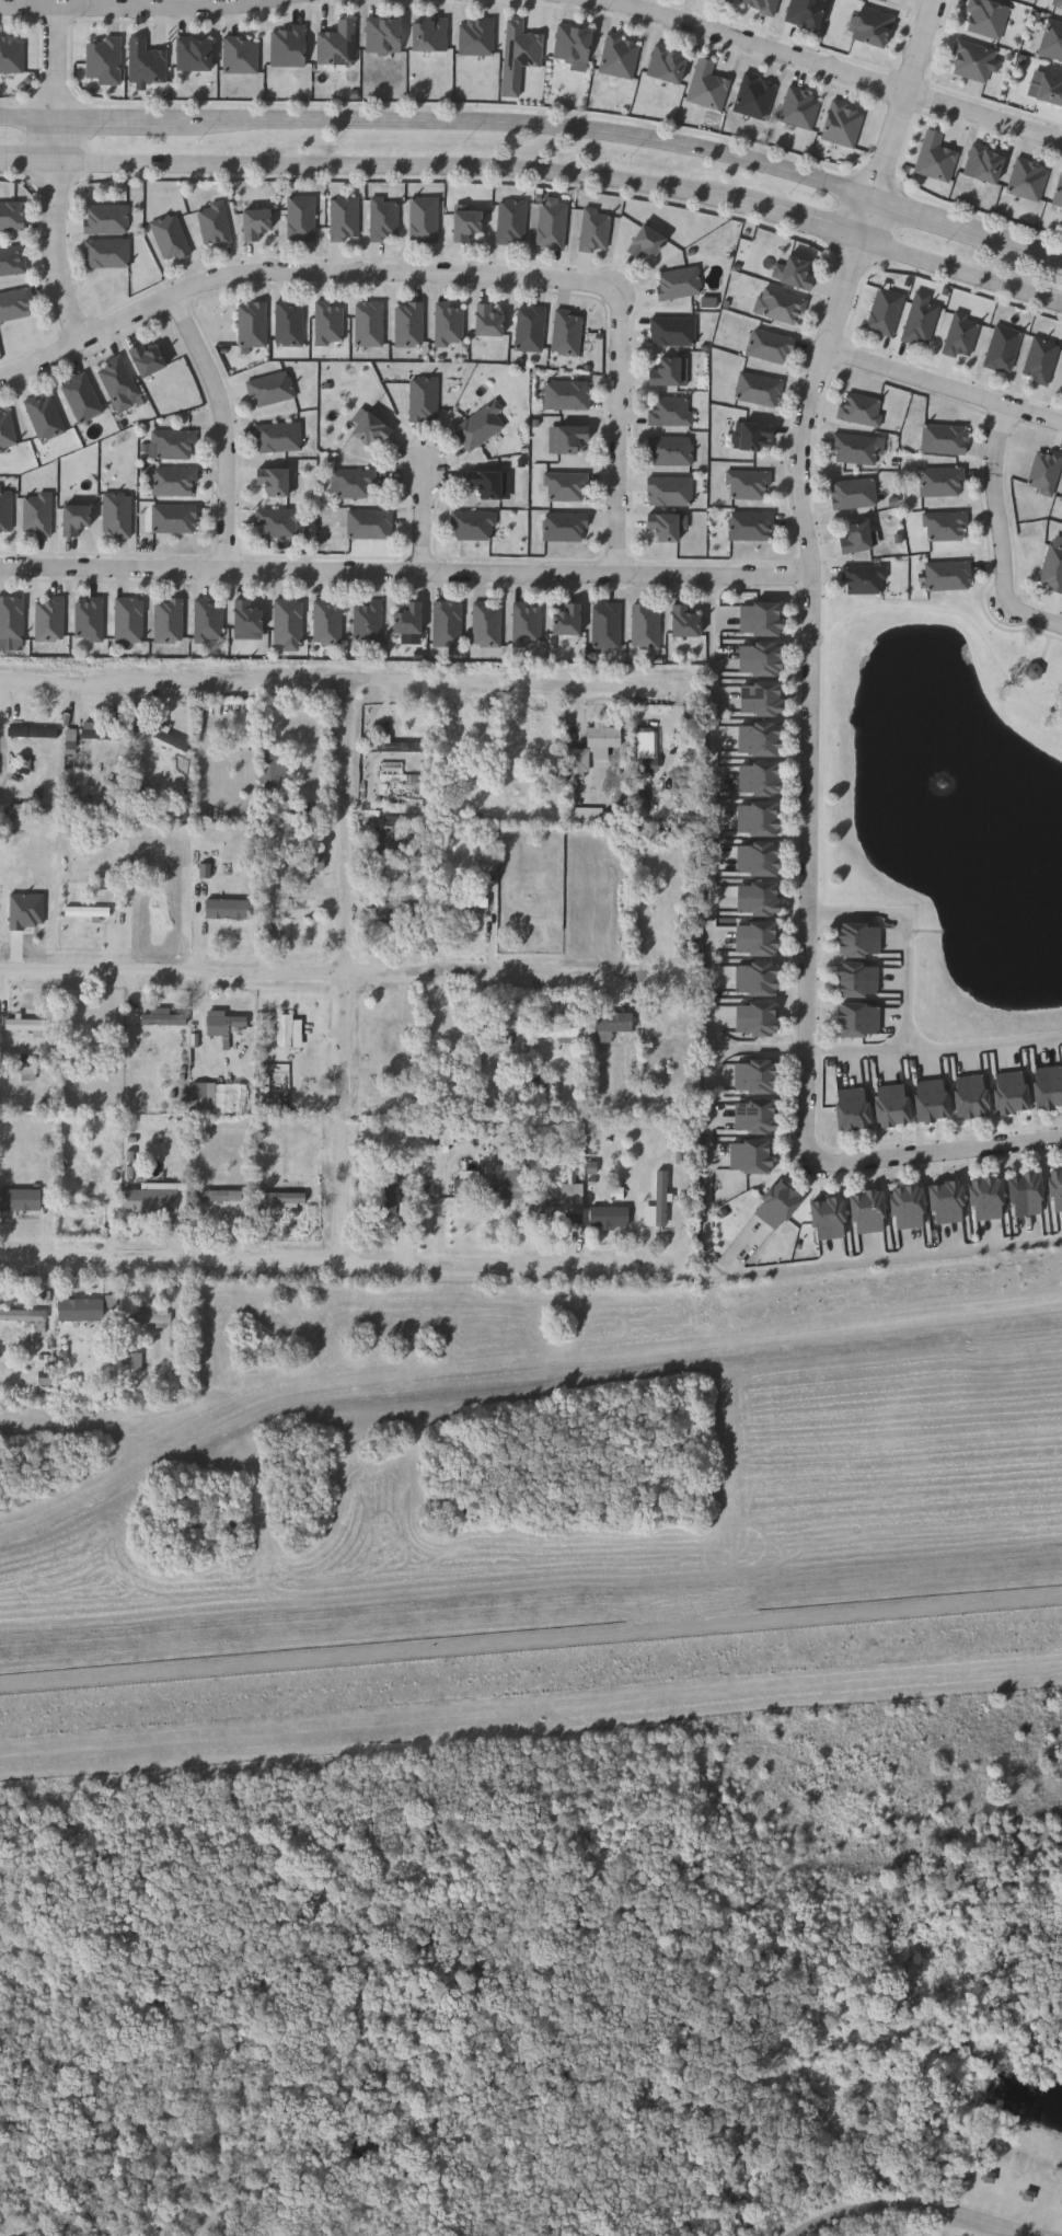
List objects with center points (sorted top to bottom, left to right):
building: (885, 0)
building: (727, 1)
building: (1058, 3)
building: (762, 5)
road: (30, 9)
road: (169, 9)
building: (806, 12)
building: (986, 18)
building: (873, 27)
building: (430, 34)
building: (383, 36)
building: (477, 37)
building: (1052, 41)
road: (743, 44)
building: (337, 45)
building: (573, 46)
building: (288, 47)
building: (520, 54)
building: (12, 55)
building: (194, 55)
building: (241, 56)
building: (620, 56)
building: (104, 59)
building: (972, 61)
road: (58, 62)
building: (147, 62)
building: (667, 65)
building: (708, 87)
building: (1051, 87)
building: (755, 96)
road: (908, 96)
building: (800, 110)
road: (27, 116)
road: (116, 117)
road: (985, 117)
road: (531, 123)
building: (843, 125)
road: (56, 138)
building: (935, 158)
road: (27, 159)
road: (396, 164)
building: (984, 165)
building: (1028, 180)
building: (1058, 195)
road: (934, 211)
building: (11, 216)
road: (870, 217)
building: (301, 218)
building: (344, 218)
building: (383, 218)
building: (423, 218)
road: (800, 218)
building: (105, 219)
building: (510, 221)
building: (551, 222)
building: (213, 223)
building: (254, 223)
building: (464, 223)
building: (595, 229)
building: (170, 237)
road: (1026, 241)
building: (643, 242)
road: (57, 249)
building: (107, 253)
building: (12, 261)
road: (353, 272)
road: (962, 272)
building: (796, 273)
building: (678, 283)
building: (709, 302)
building: (15, 303)
building: (780, 304)
building: (884, 311)
building: (486, 319)
building: (368, 322)
building: (408, 322)
building: (252, 323)
building: (289, 323)
building: (328, 323)
building: (449, 323)
building: (920, 323)
building: (530, 327)
building: (566, 331)
building: (671, 331)
building: (960, 336)
building: (769, 345)
building: (1002, 348)
road: (42, 355)
building: (146, 359)
building: (1039, 359)
building: (665, 371)
building: (117, 380)
road: (946, 383)
building: (270, 388)
building: (758, 389)
building: (566, 394)
building: (81, 396)
building: (423, 397)
building: (859, 408)
building: (669, 411)
building: (44, 415)
building: (477, 426)
road: (227, 428)
building: (369, 428)
building: (7, 429)
building: (753, 435)
building: (278, 436)
building: (568, 437)
building: (943, 438)
road: (620, 442)
building: (174, 443)
building: (856, 448)
building: (669, 450)
building: (1043, 471)
building: (174, 481)
building: (272, 481)
building: (942, 481)
building: (351, 483)
building: (484, 483)
building: (748, 484)
building: (566, 485)
building: (668, 489)
building: (853, 494)
building: (1061, 498)
road: (1000, 506)
building: (5, 512)
building: (36, 512)
building: (116, 514)
building: (73, 518)
building: (173, 518)
road: (424, 519)
building: (278, 522)
building: (369, 523)
building: (473, 525)
building: (750, 525)
building: (565, 526)
building: (661, 527)
building: (945, 527)
building: (854, 537)
building: (1051, 569)
road: (406, 570)
building: (947, 575)
building: (863, 579)
building: (244, 615)
building: (12, 618)
building: (49, 618)
building: (407, 618)
road: (1037, 618)
building: (89, 619)
building: (128, 619)
building: (759, 619)
building: (169, 620)
building: (208, 620)
building: (566, 620)
building: (682, 620)
building: (327, 622)
building: (367, 622)
building: (287, 623)
building: (447, 623)
building: (486, 624)
building: (527, 624)
building: (605, 625)
building: (645, 625)
building: (759, 659)
road: (337, 676)
road: (811, 694)
building: (760, 700)
building: (138, 717)
building: (34, 730)
building: (100, 730)
building: (603, 735)
building: (169, 738)
building: (759, 740)
building: (402, 746)
building: (72, 750)
building: (646, 752)
building: (577, 762)
building: (28, 764)
building: (274, 765)
building: (759, 780)
building: (284, 809)
building: (23, 811)
building: (758, 820)
building: (315, 861)
building: (758, 861)
building: (757, 899)
building: (461, 901)
building: (293, 903)
building: (229, 908)
building: (27, 911)
building: (86, 911)
building: (395, 912)
road: (911, 935)
building: (755, 940)
building: (858, 941)
road: (350, 969)
road: (311, 970)
building: (755, 980)
building: (857, 981)
building: (162, 1016)
building: (755, 1019)
building: (223, 1022)
building: (613, 1022)
building: (858, 1022)
building: (26, 1023)
building: (287, 1029)
building: (562, 1031)
road: (760, 1048)
road: (935, 1054)
building: (30, 1073)
building: (754, 1077)
building: (1048, 1087)
building: (205, 1094)
building: (1011, 1094)
building: (970, 1097)
road: (709, 1100)
building: (931, 1100)
building: (892, 1106)
building: (852, 1110)
building: (754, 1118)
building: (448, 1134)
road: (938, 1152)
building: (750, 1157)
building: (593, 1167)
building: (492, 1184)
building: (386, 1190)
building: (1057, 1190)
building: (218, 1195)
building: (1026, 1195)
building: (155, 1197)
building: (284, 1197)
building: (20, 1199)
building: (986, 1199)
building: (657, 1202)
building: (947, 1203)
building: (776, 1206)
building: (561, 1207)
building: (908, 1208)
road: (443, 1209)
building: (867, 1213)
building: (609, 1215)
building: (828, 1220)
road: (330, 1260)
building: (80, 1309)
building: (150, 1314)
building: (23, 1316)
building: (136, 1358)
road: (530, 1639)
park: (543, 1983)
road: (907, 2211)

